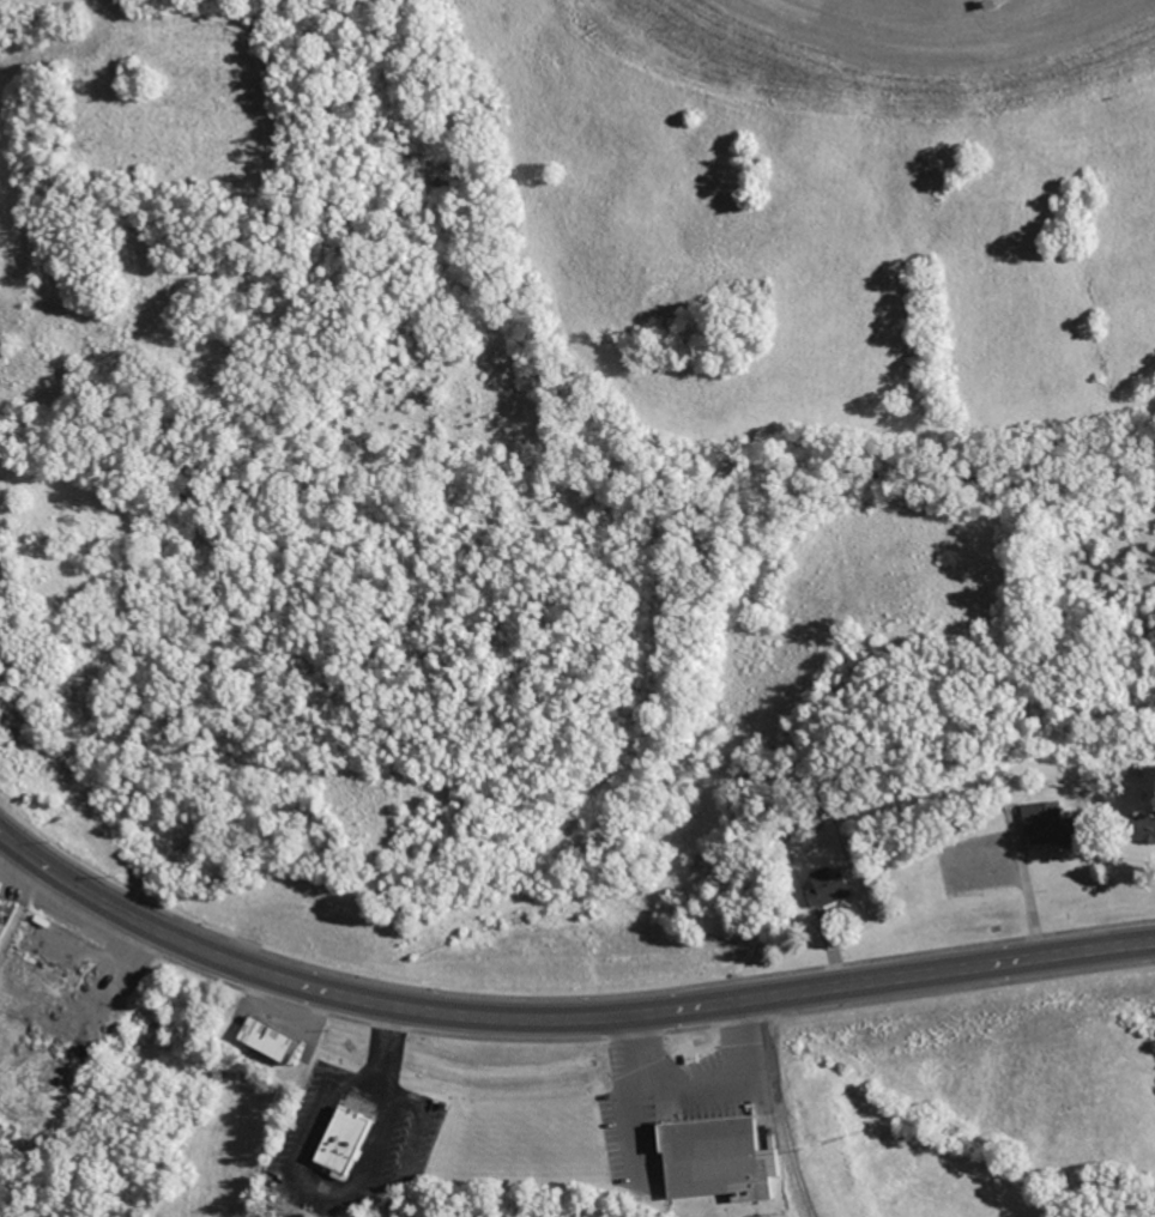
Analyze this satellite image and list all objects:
road: (80, 890)
building: (1, 912)
road: (659, 1005)
building: (262, 1041)
road: (787, 1106)
building: (335, 1142)
building: (710, 1161)
road: (345, 1191)

